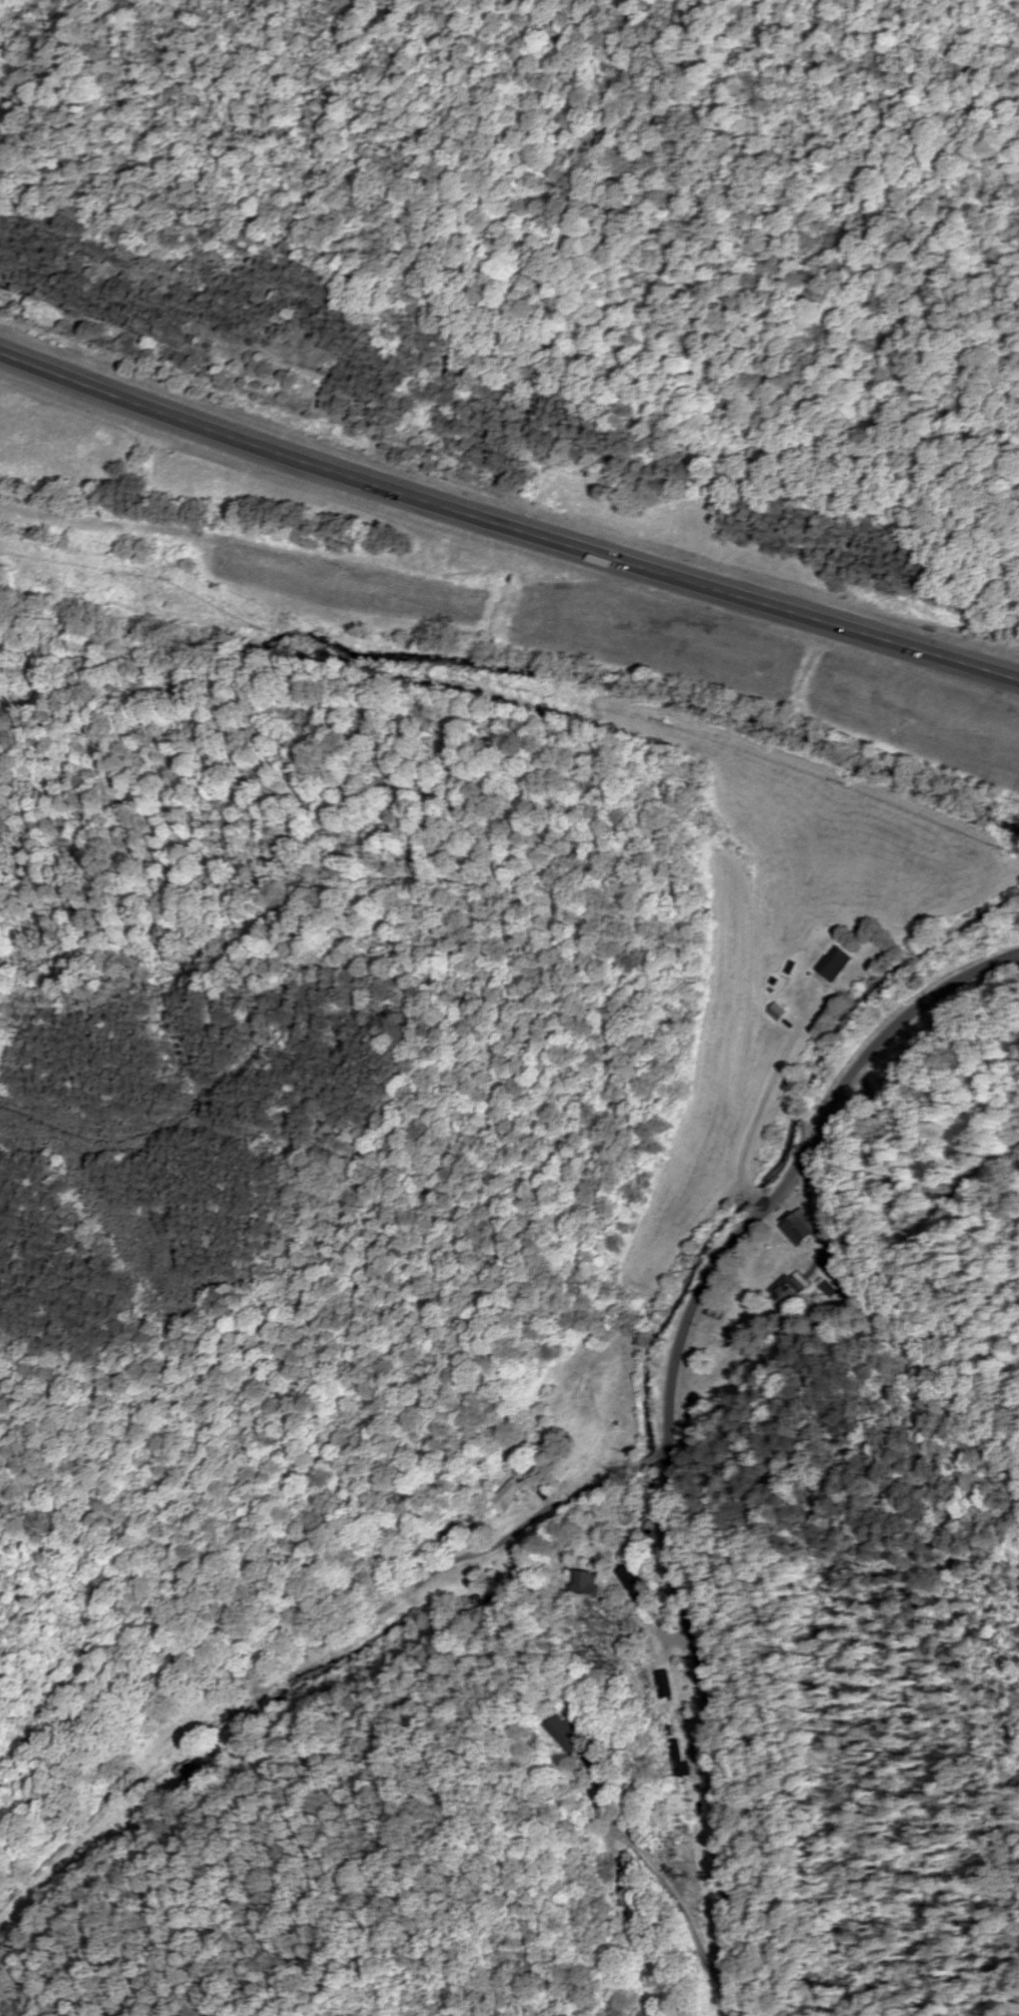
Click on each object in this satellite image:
road: (506, 527)
building: (833, 966)
road: (758, 1117)
building: (799, 1228)
building: (800, 1285)
building: (781, 1294)
road: (668, 1418)
building: (588, 1584)
road: (662, 1639)
road: (329, 1641)
road: (650, 1868)

